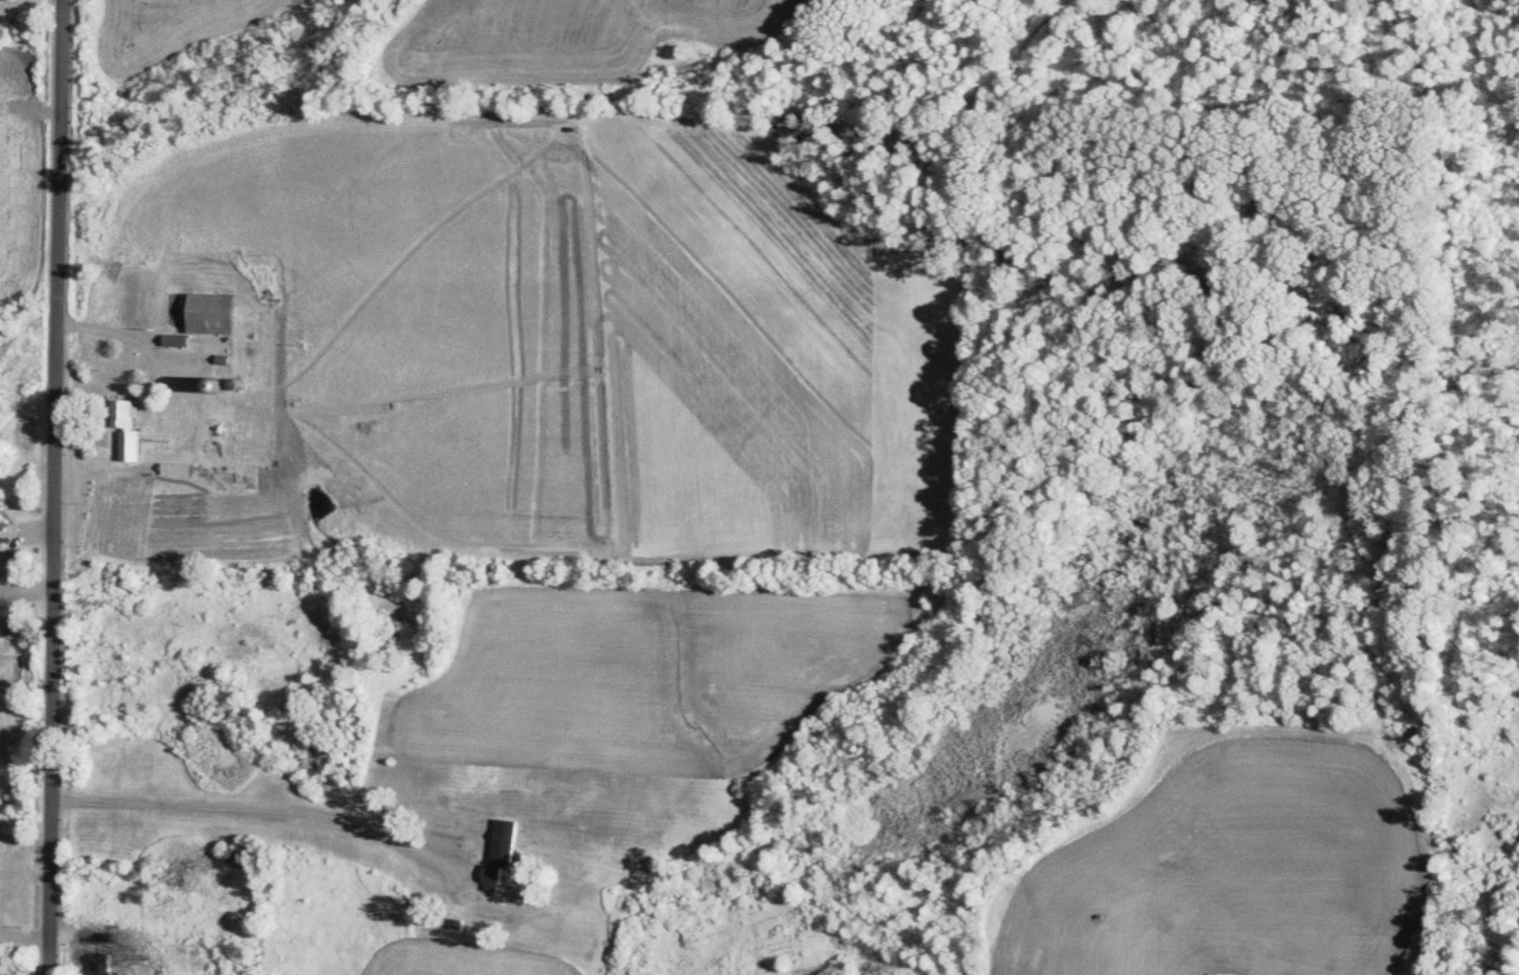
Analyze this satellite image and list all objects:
building: (206, 315)
road: (104, 328)
building: (120, 414)
road: (50, 487)
building: (0, 519)
road: (270, 805)
building: (505, 845)
road: (130, 934)
building: (97, 964)

